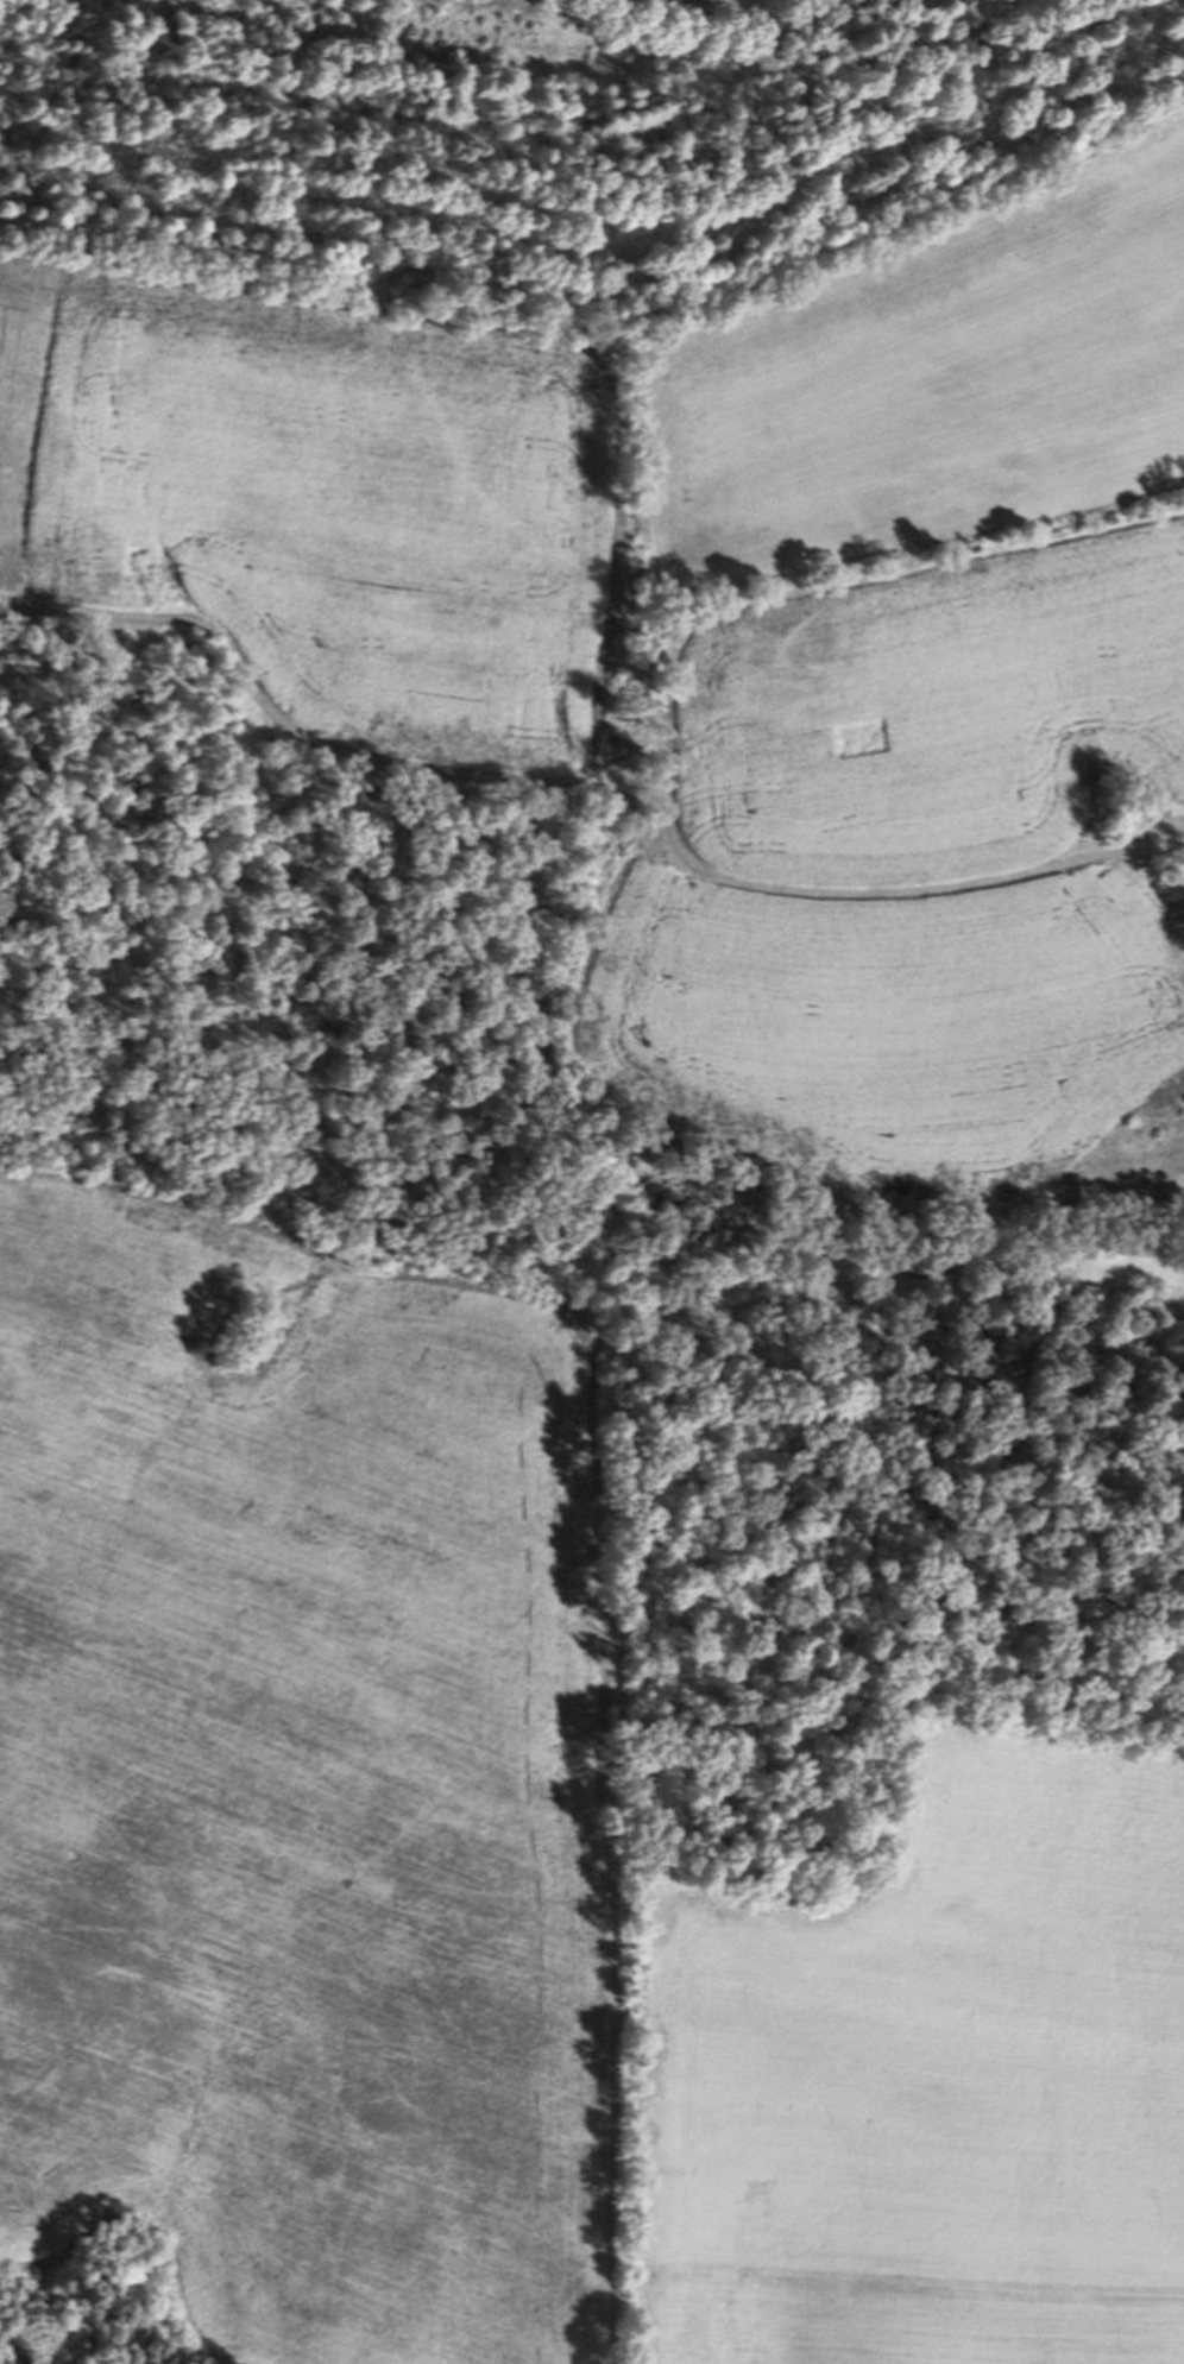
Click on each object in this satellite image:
road: (617, 758)

